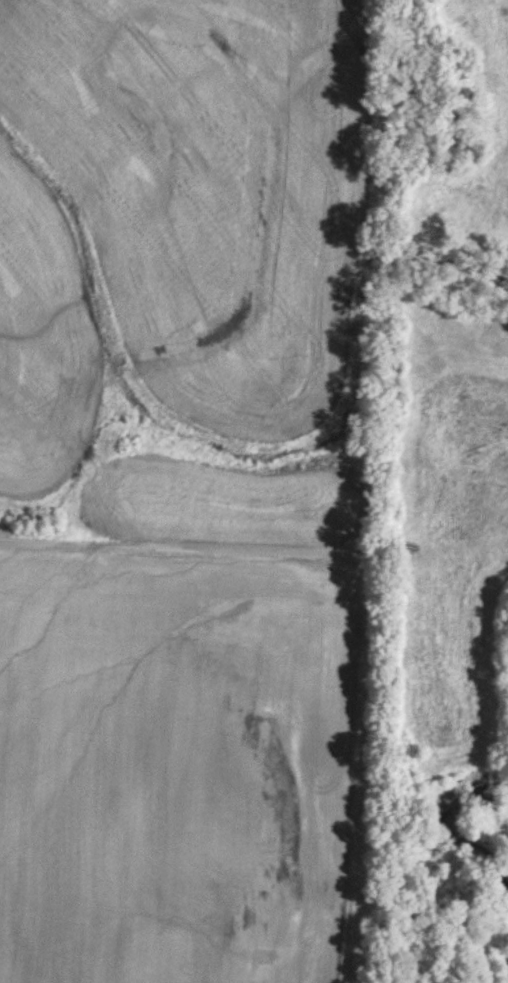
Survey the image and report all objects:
road: (173, 548)

